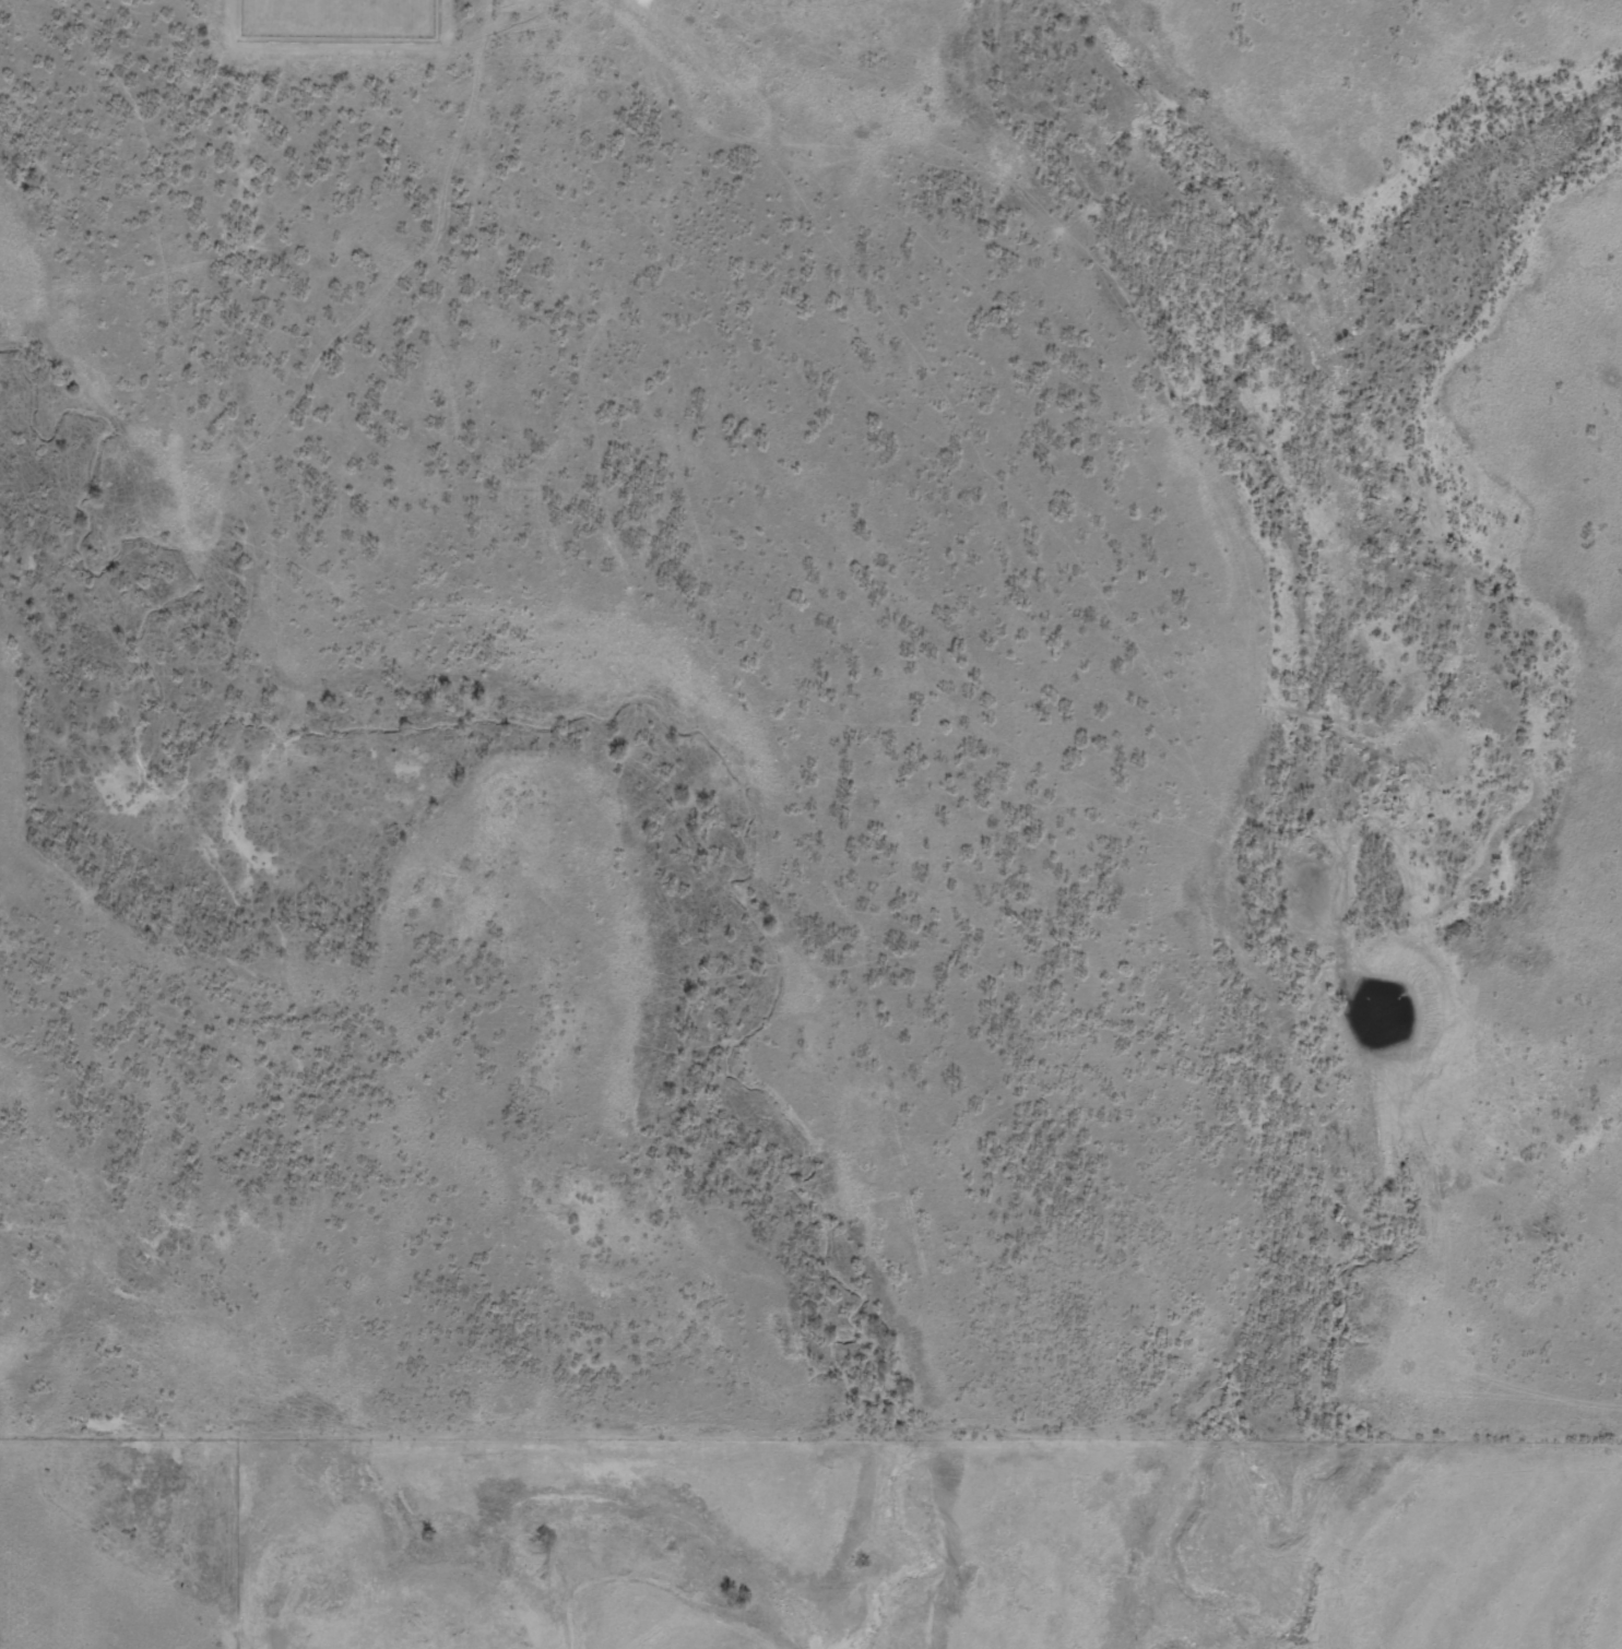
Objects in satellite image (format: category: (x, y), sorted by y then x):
park: (336, 19)

